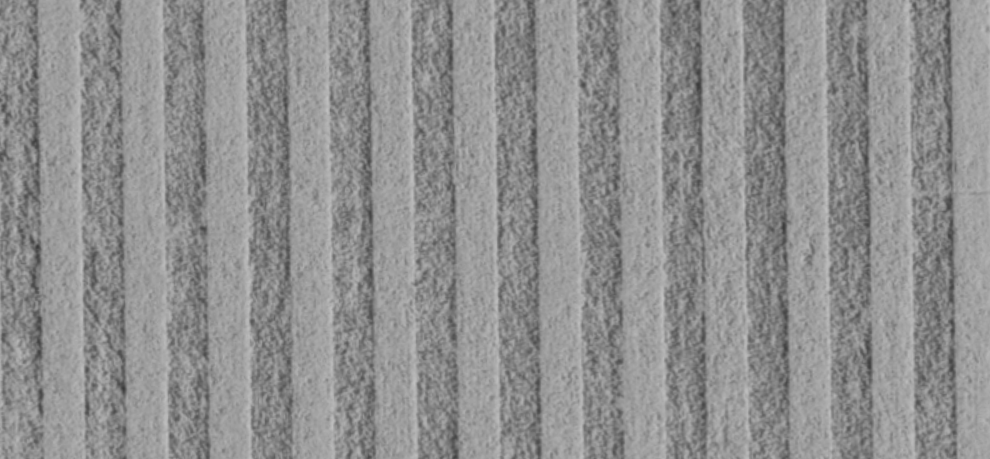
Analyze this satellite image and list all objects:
crop: (495, 229)

